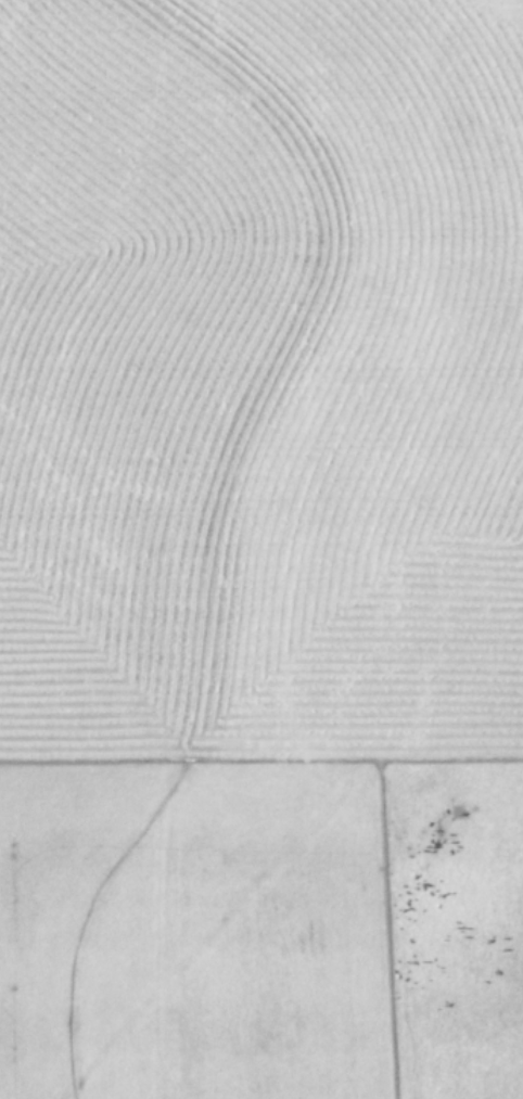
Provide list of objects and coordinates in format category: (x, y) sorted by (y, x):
crop: (261, 549)

